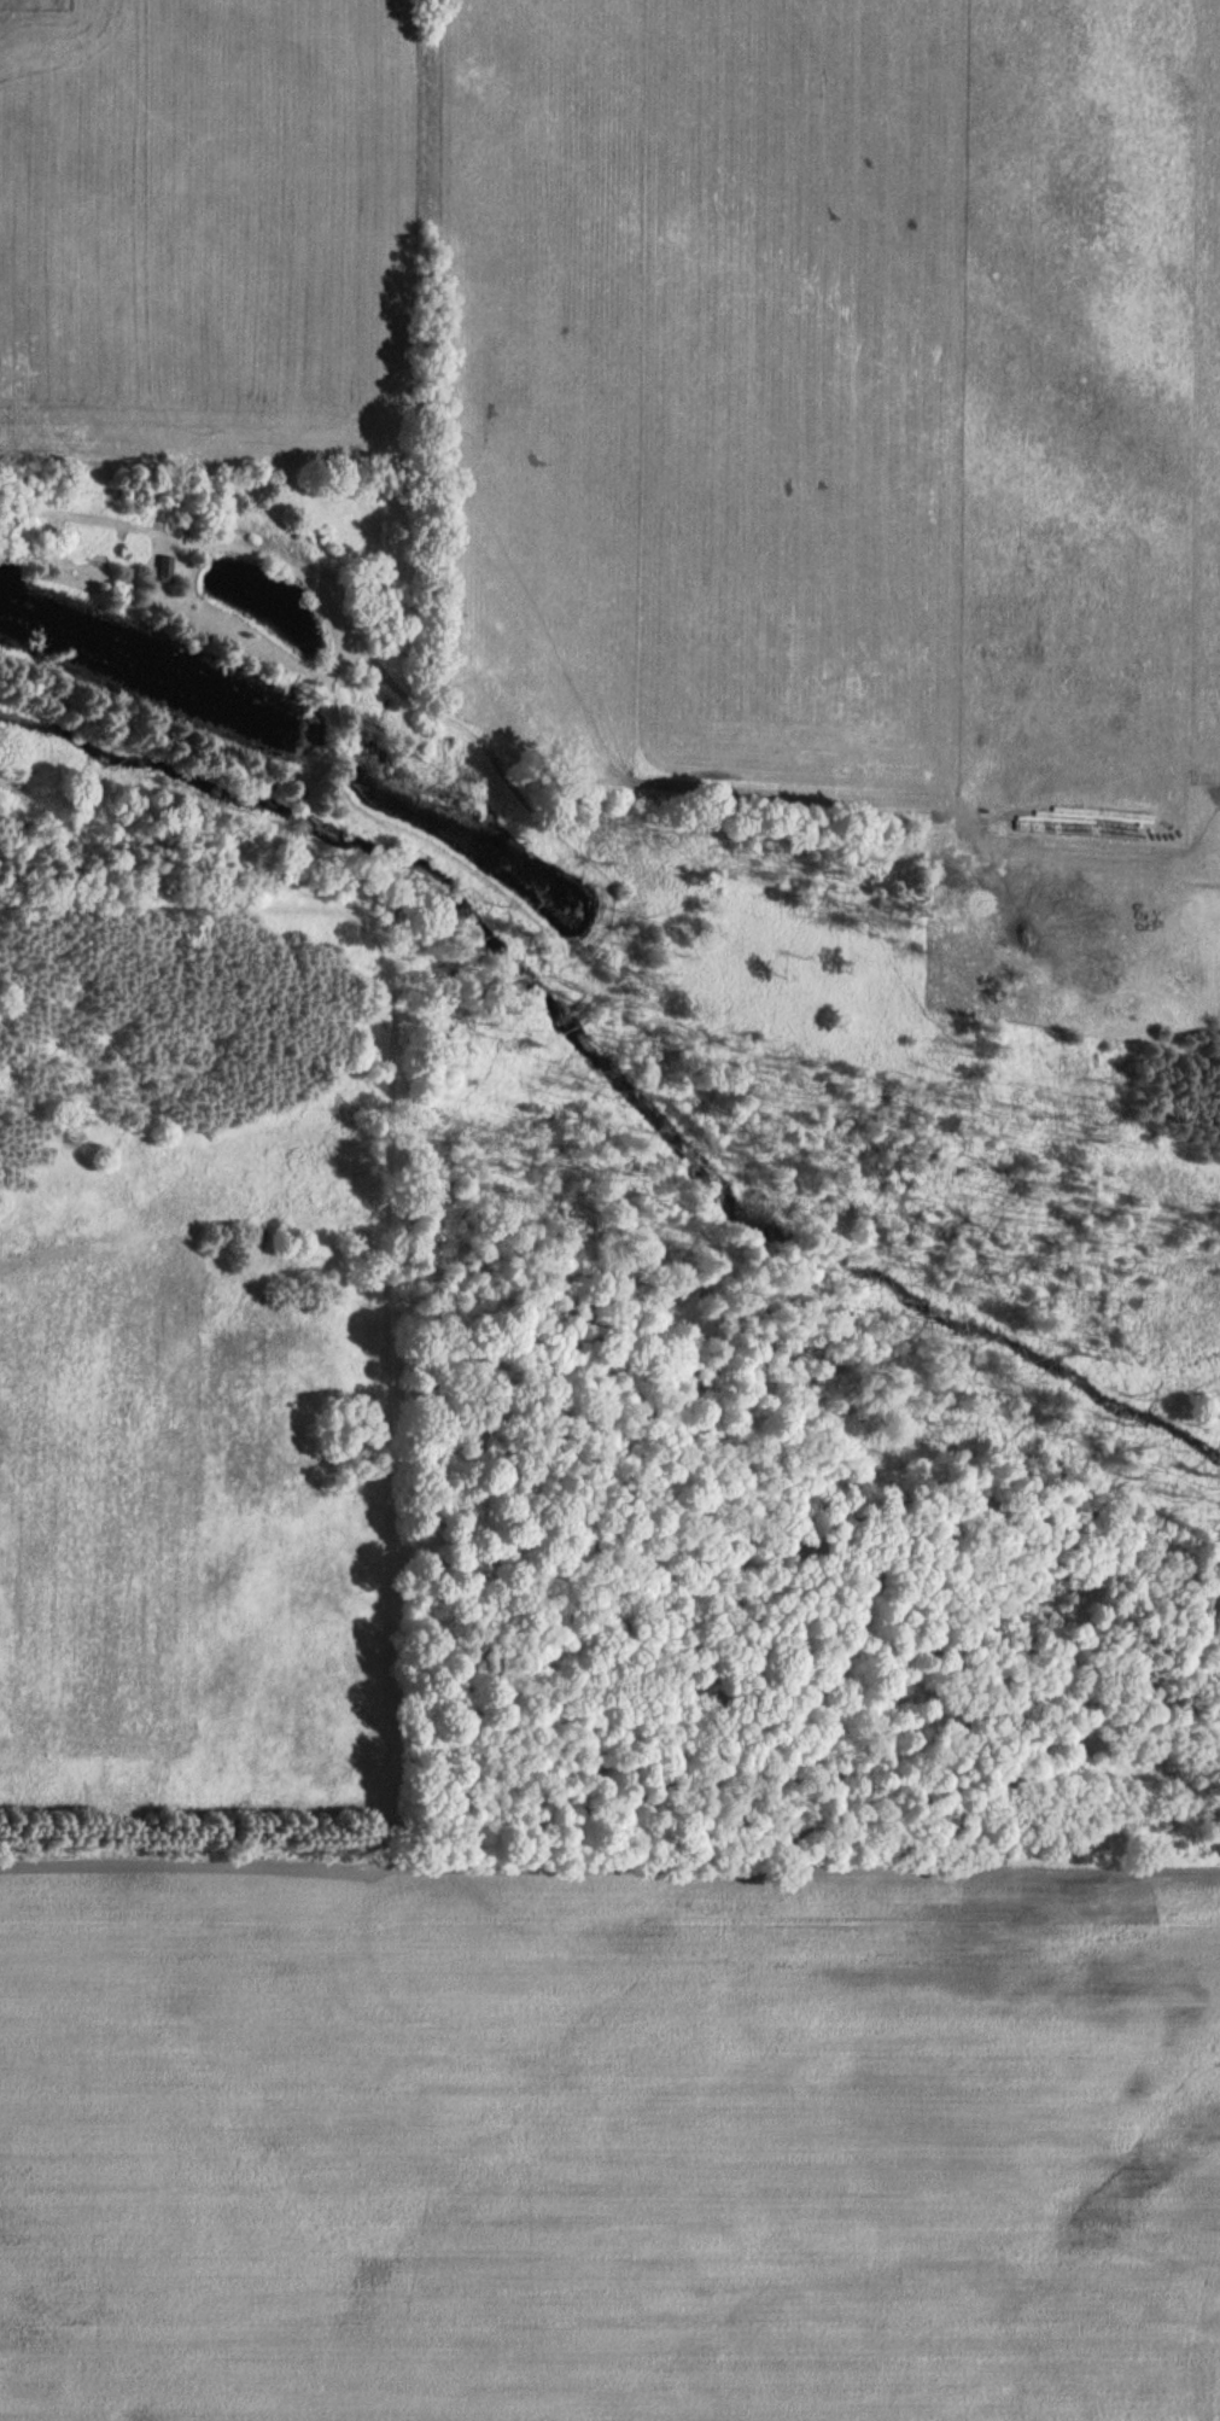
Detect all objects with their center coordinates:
building: (168, 567)

